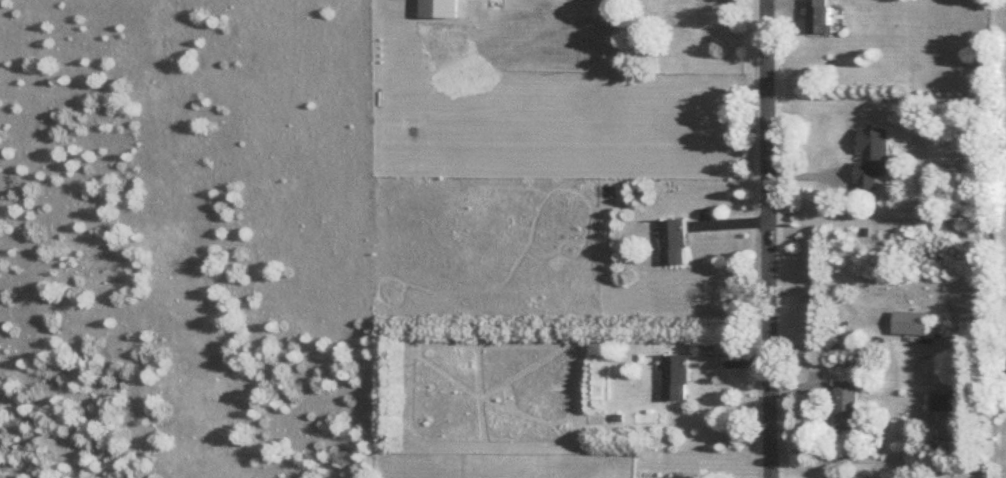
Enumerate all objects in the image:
building: (678, 6)
building: (439, 7)
building: (820, 15)
building: (872, 154)
road: (769, 238)
building: (672, 239)
road: (828, 287)
building: (911, 320)
building: (674, 374)
building: (942, 399)
building: (846, 403)
building: (857, 476)

